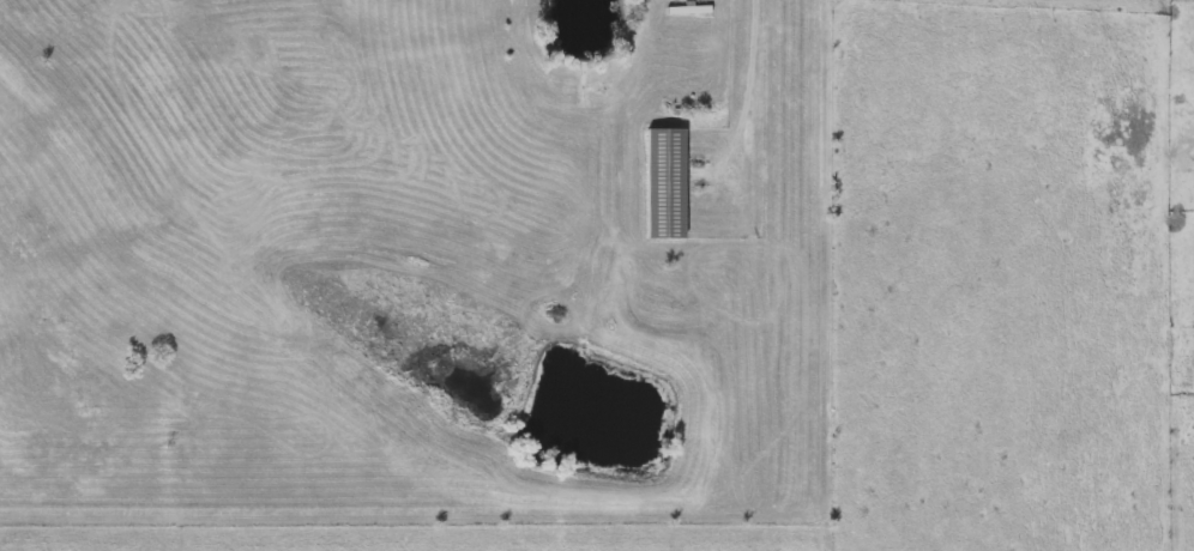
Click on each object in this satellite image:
building: (691, 7)
road: (750, 81)
building: (665, 181)

